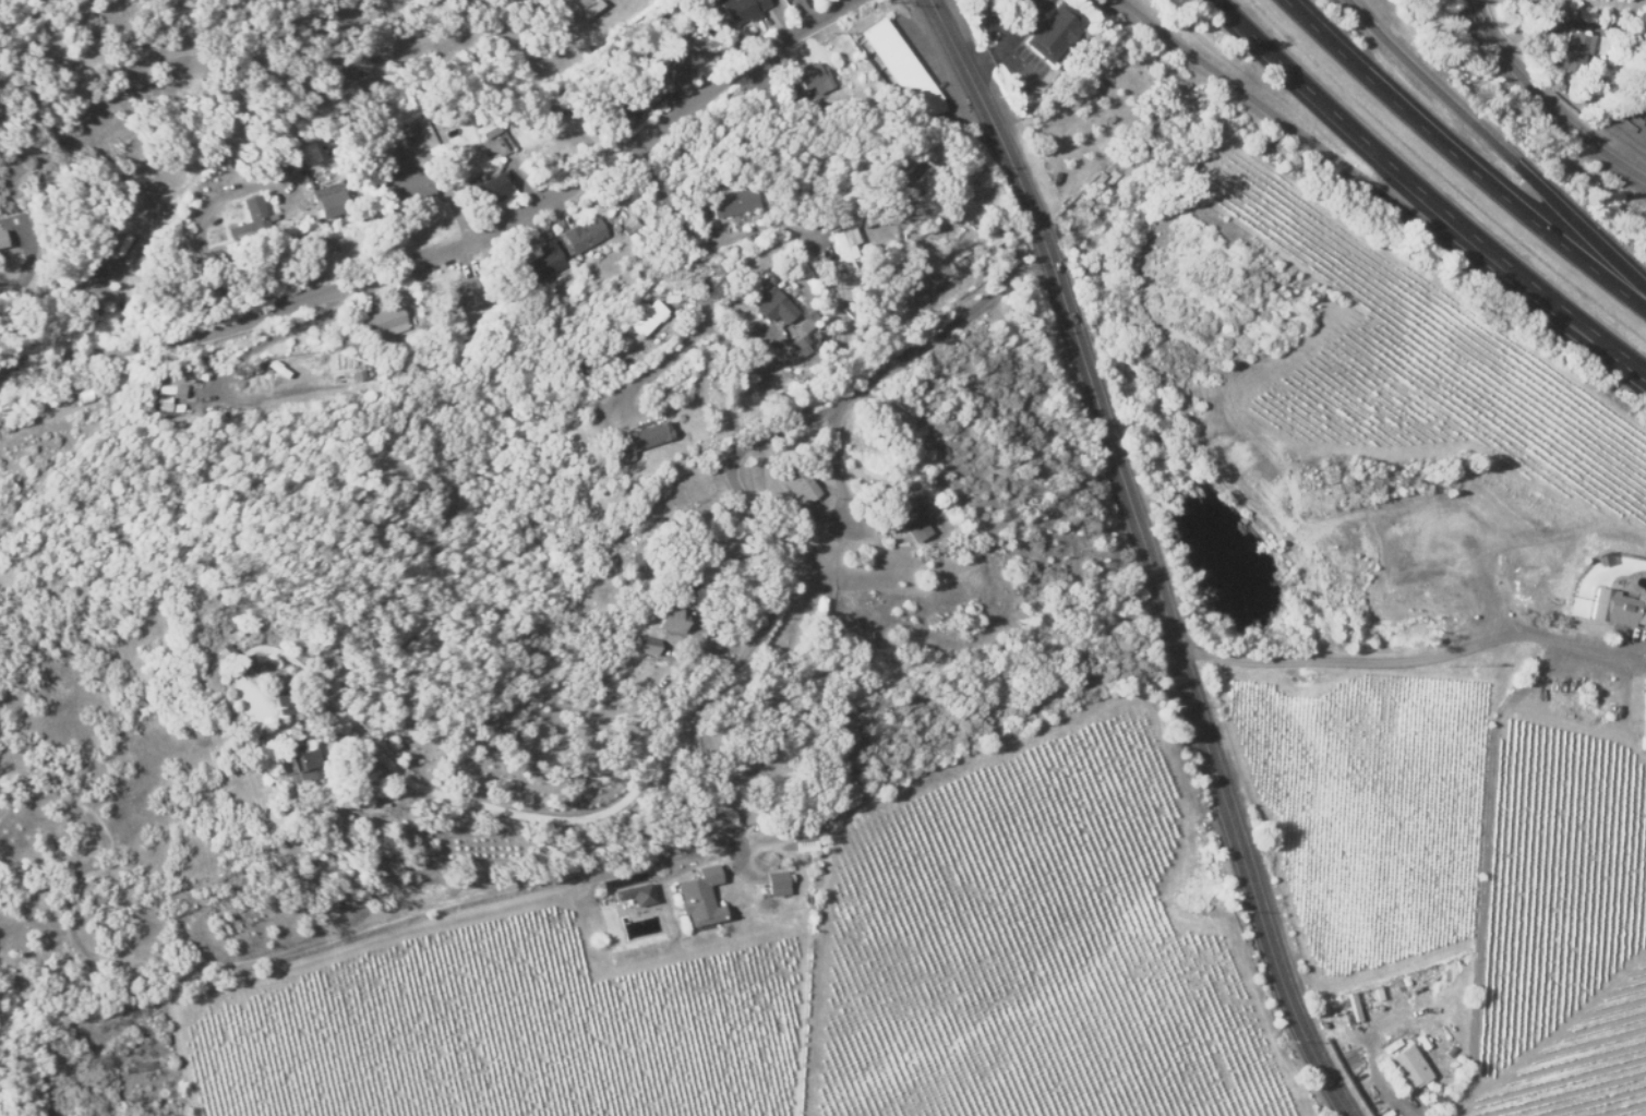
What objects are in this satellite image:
building: (741, 10)
building: (1053, 32)
building: (1574, 53)
building: (686, 56)
building: (902, 69)
building: (808, 79)
building: (1560, 87)
building: (635, 100)
road: (1542, 106)
building: (485, 124)
road: (1495, 144)
road: (1461, 160)
building: (403, 187)
building: (490, 188)
road: (1375, 197)
road: (1428, 197)
building: (326, 200)
building: (734, 202)
building: (250, 216)
building: (584, 235)
building: (844, 249)
road: (466, 254)
building: (541, 262)
building: (462, 290)
building: (770, 303)
building: (645, 316)
building: (386, 322)
building: (797, 348)
road: (414, 369)
building: (170, 389)
building: (163, 403)
building: (646, 435)
building: (798, 483)
building: (908, 517)
road: (1146, 554)
building: (635, 562)
building: (1531, 591)
building: (1435, 605)
building: (1615, 607)
building: (665, 617)
building: (645, 645)
road: (1419, 658)
road: (728, 672)
building: (275, 694)
building: (1643, 721)
road: (711, 794)
building: (802, 830)
building: (776, 883)
building: (636, 893)
building: (698, 897)
road: (1415, 1020)
building: (1406, 1069)

